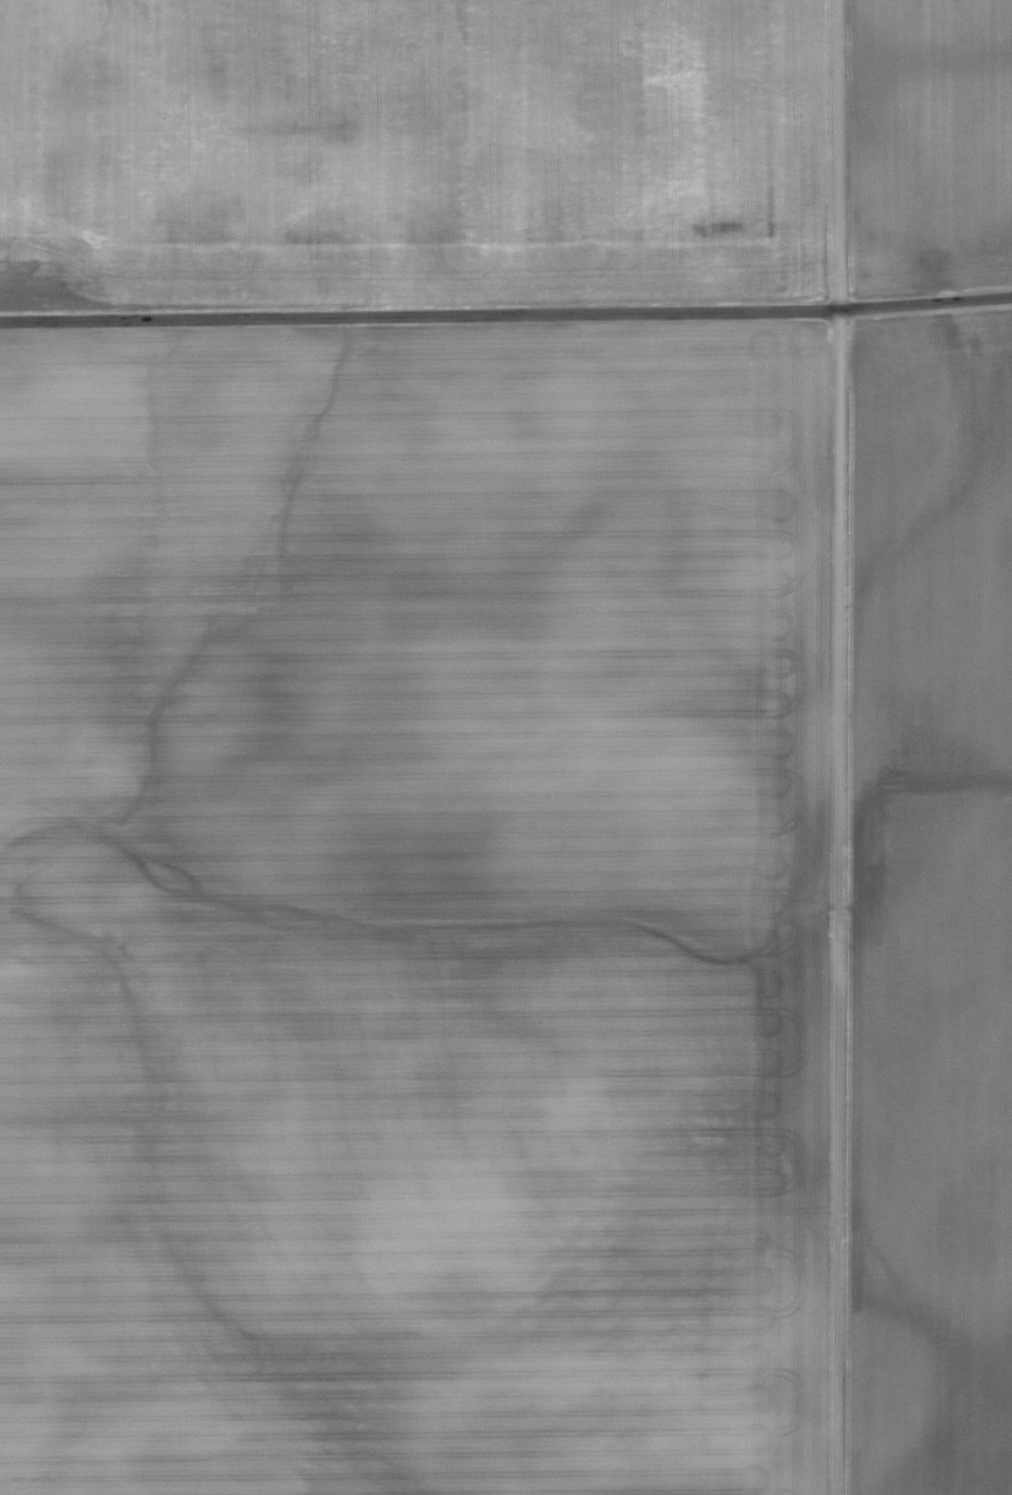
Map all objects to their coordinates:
road: (506, 312)
road: (830, 747)

